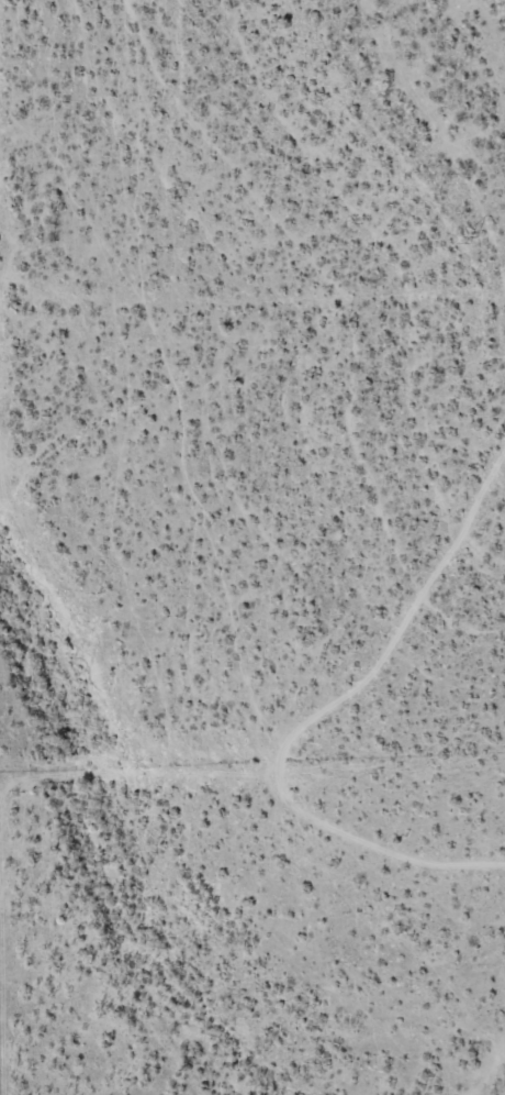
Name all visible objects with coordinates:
power tower: (473, 242)
road: (217, 753)

